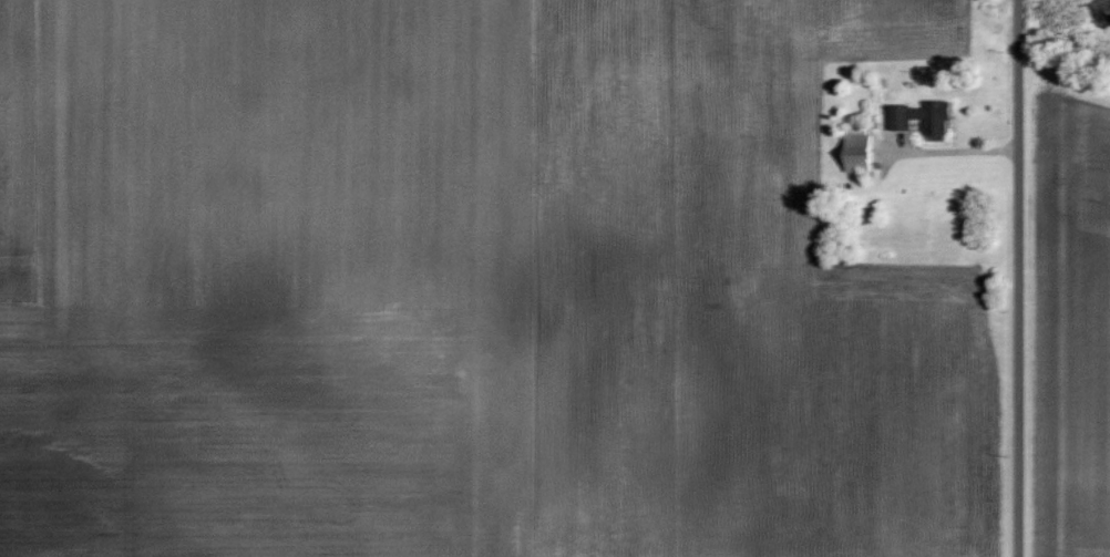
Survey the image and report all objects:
building: (897, 117)
building: (855, 152)
road: (1020, 278)

